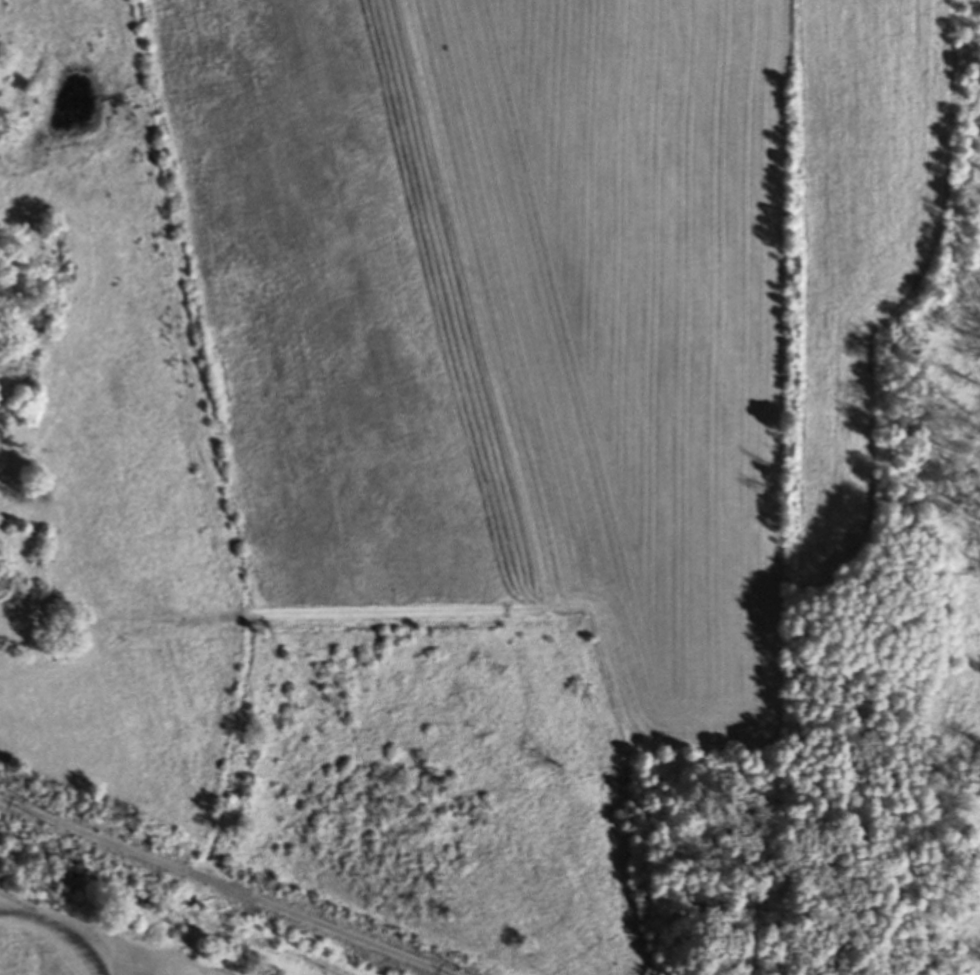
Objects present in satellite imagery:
road: (257, 618)
power tower: (60, 826)

